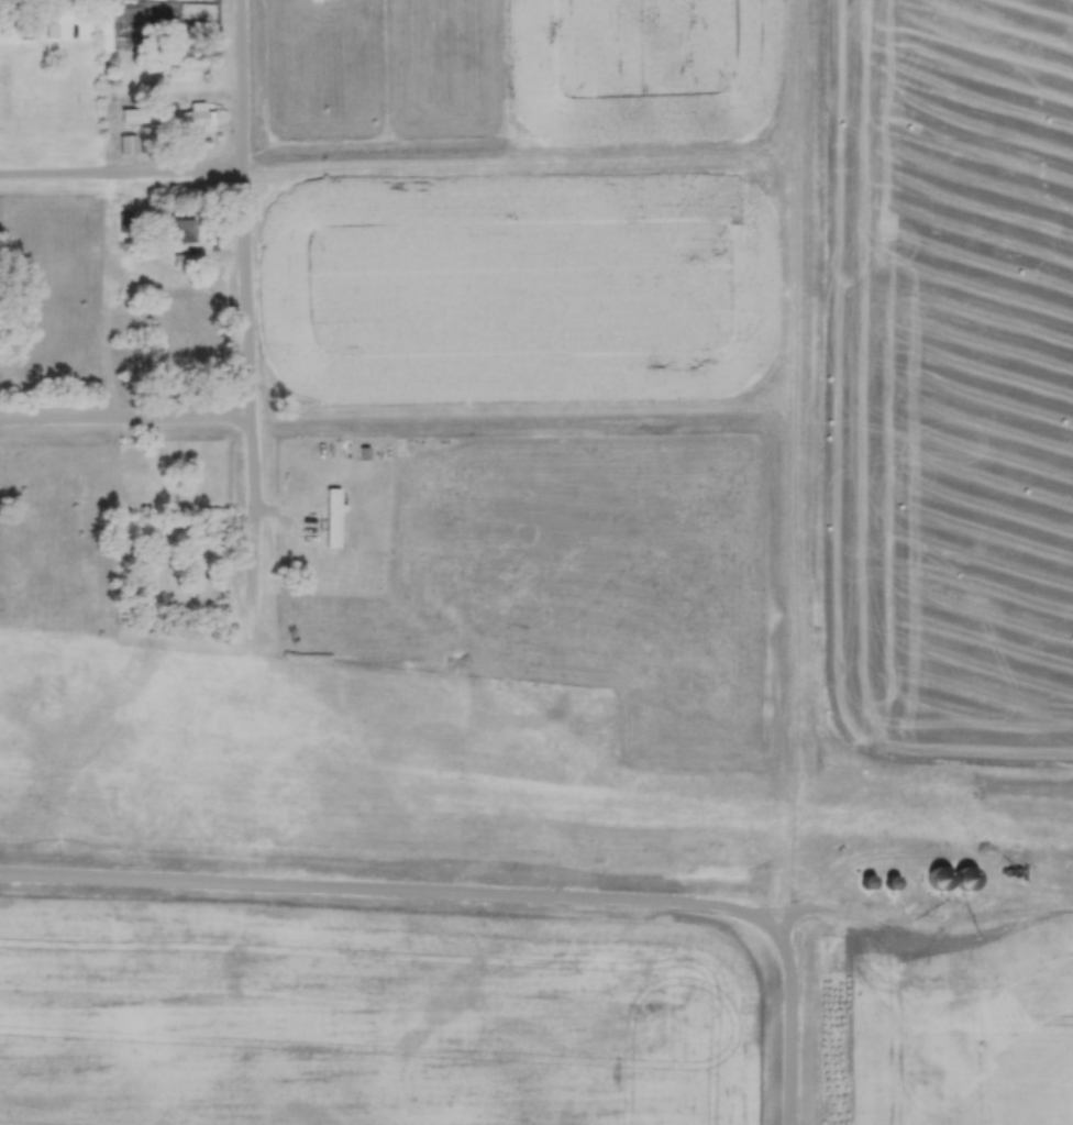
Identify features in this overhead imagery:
building: (51, 30)
building: (192, 64)
road: (246, 87)
building: (136, 114)
building: (198, 120)
road: (522, 167)
road: (124, 178)
road: (795, 201)
building: (181, 229)
road: (254, 385)
road: (128, 421)
building: (207, 589)
road: (489, 893)

